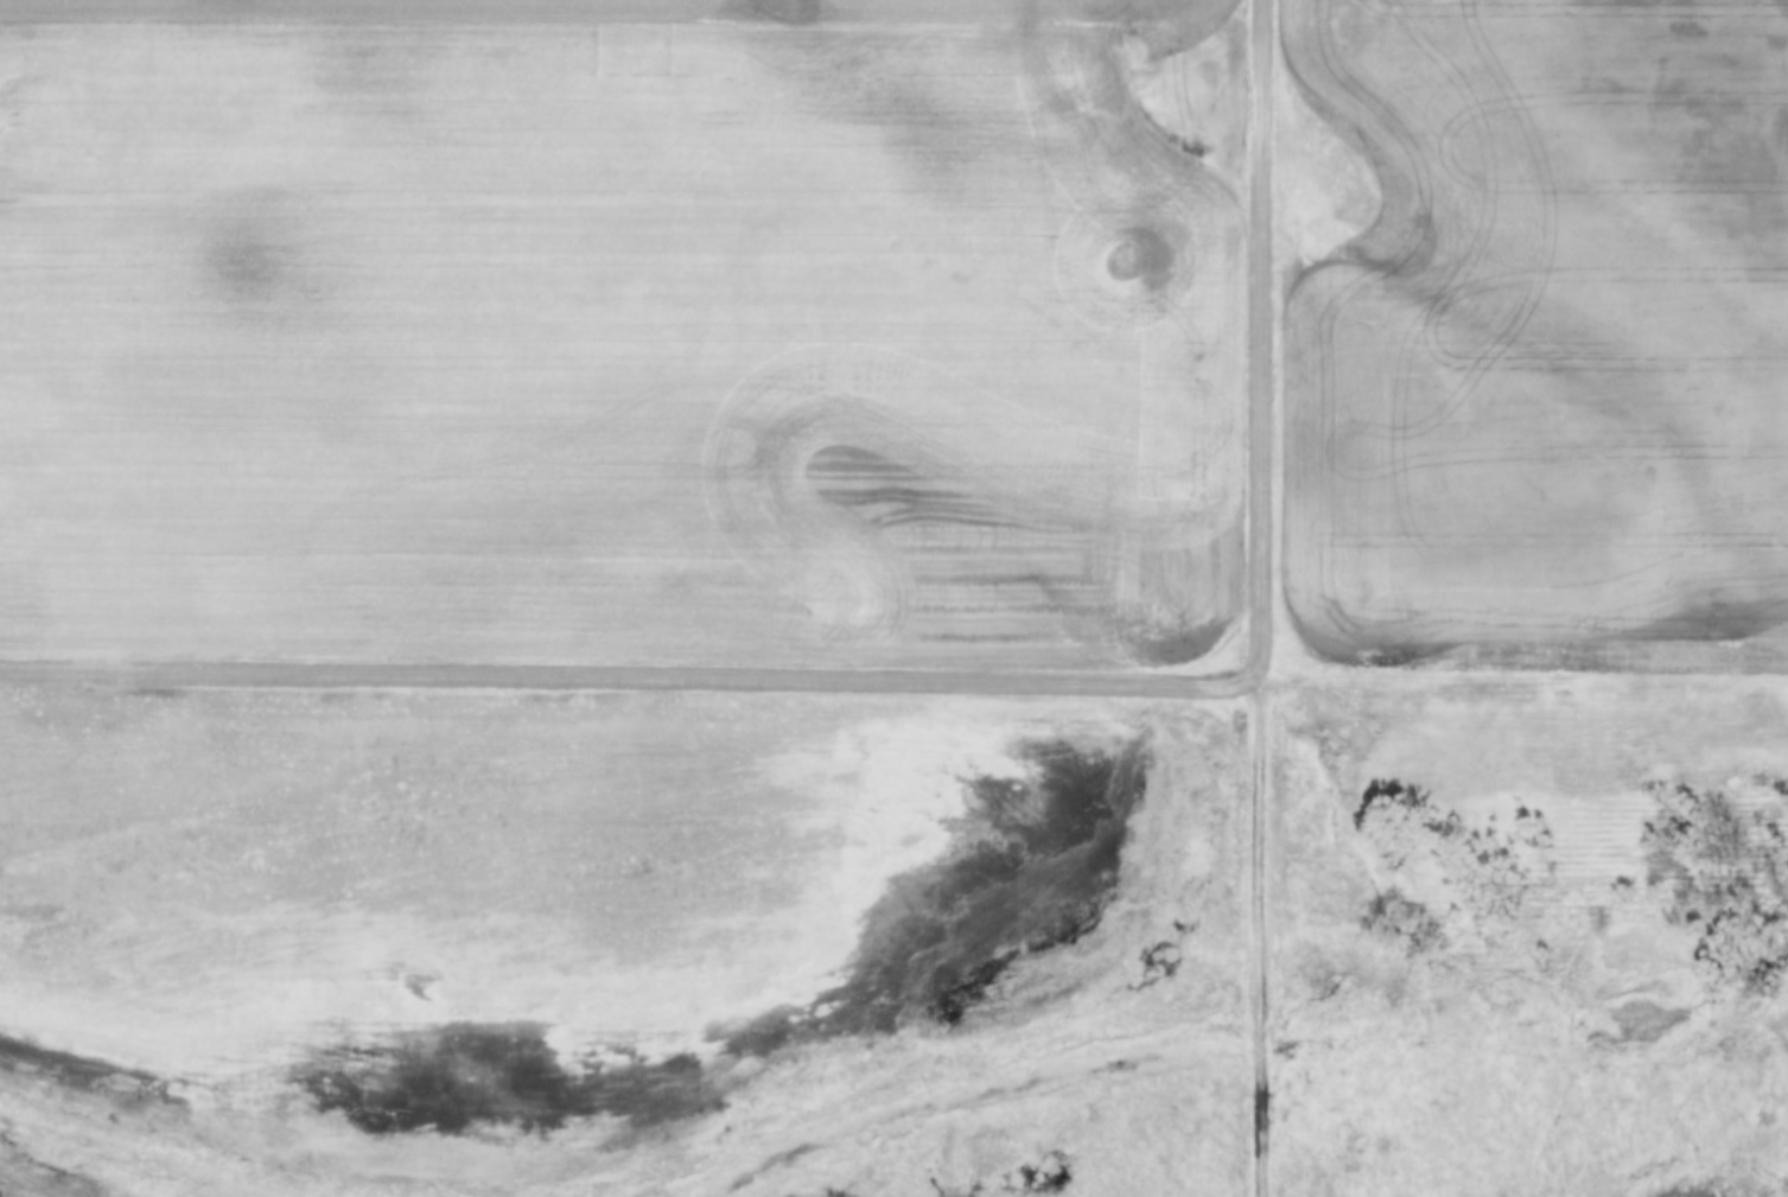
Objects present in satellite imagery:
road: (1258, 598)
road: (629, 676)

